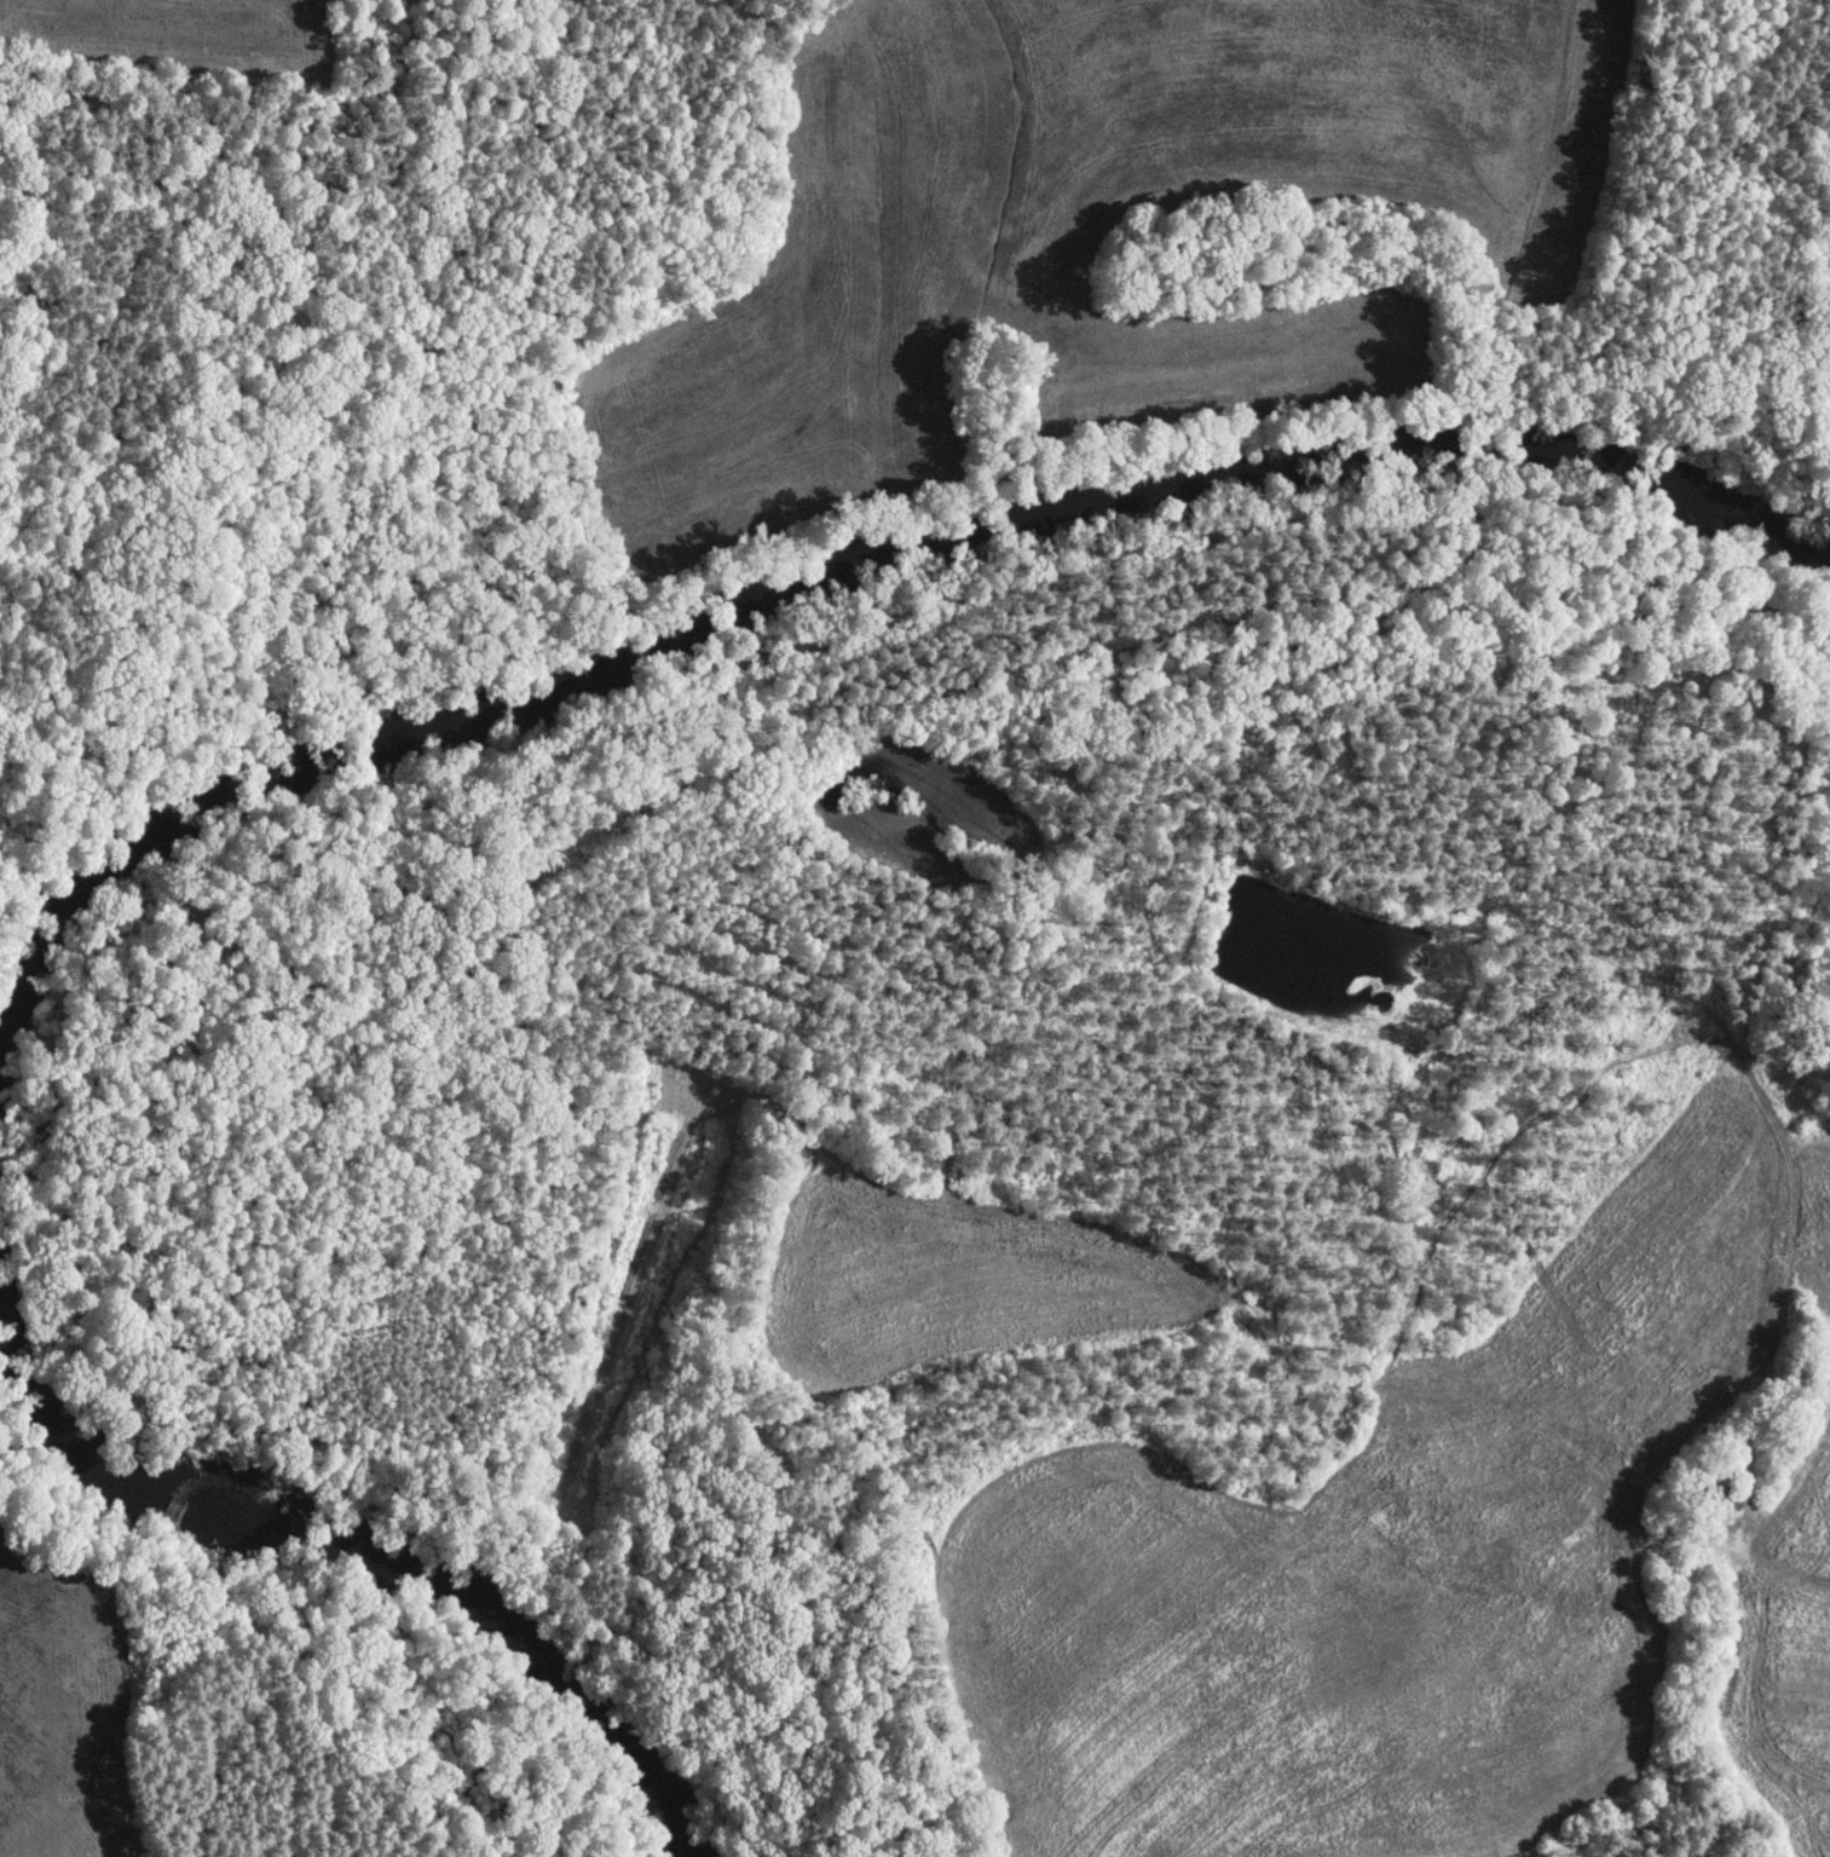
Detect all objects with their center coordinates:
river: (847, 566)
river: (360, 1539)

